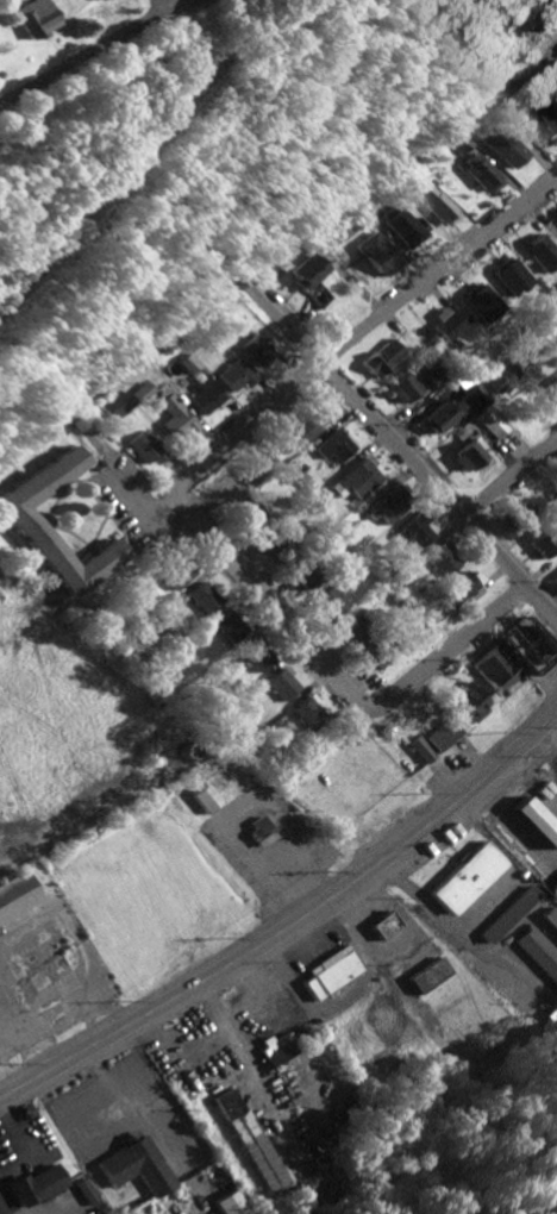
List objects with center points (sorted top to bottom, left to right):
road: (159, 6)
building: (31, 17)
road: (92, 49)
building: (545, 119)
building: (511, 146)
road: (142, 157)
building: (489, 173)
building: (445, 205)
building: (556, 214)
building: (411, 227)
building: (543, 252)
building: (383, 254)
road: (280, 255)
building: (313, 270)
building: (511, 275)
building: (482, 301)
building: (449, 323)
road: (364, 331)
building: (259, 350)
building: (383, 357)
building: (193, 363)
building: (238, 375)
building: (434, 375)
building: (501, 375)
building: (553, 384)
building: (405, 388)
building: (146, 392)
building: (207, 396)
building: (472, 398)
building: (120, 405)
building: (177, 415)
building: (443, 415)
building: (492, 421)
building: (306, 428)
building: (334, 445)
building: (144, 446)
road: (402, 449)
building: (469, 455)
road: (120, 474)
building: (307, 478)
building: (357, 478)
road: (512, 481)
building: (388, 508)
building: (254, 511)
building: (520, 515)
building: (29, 521)
building: (415, 531)
building: (543, 544)
building: (443, 559)
building: (179, 574)
building: (303, 575)
building: (556, 582)
building: (459, 588)
building: (205, 597)
building: (331, 601)
building: (230, 626)
building: (358, 631)
building: (524, 645)
building: (383, 655)
building: (256, 656)
building: (496, 670)
road: (334, 676)
building: (282, 684)
building: (467, 703)
building: (307, 711)
building: (439, 734)
building: (419, 749)
building: (218, 786)
building: (206, 797)
building: (534, 821)
building: (261, 831)
building: (464, 877)
building: (552, 889)
building: (15, 896)
road: (480, 905)
road: (432, 910)
building: (506, 914)
building: (550, 918)
road: (522, 921)
road: (292, 924)
building: (382, 925)
building: (538, 953)
road: (526, 970)
building: (328, 972)
building: (426, 975)
building: (275, 1049)
building: (249, 1140)
road: (26, 1143)
building: (136, 1164)
building: (37, 1184)
building: (86, 1191)
road: (6, 1203)
building: (229, 1203)
road: (68, 1213)

